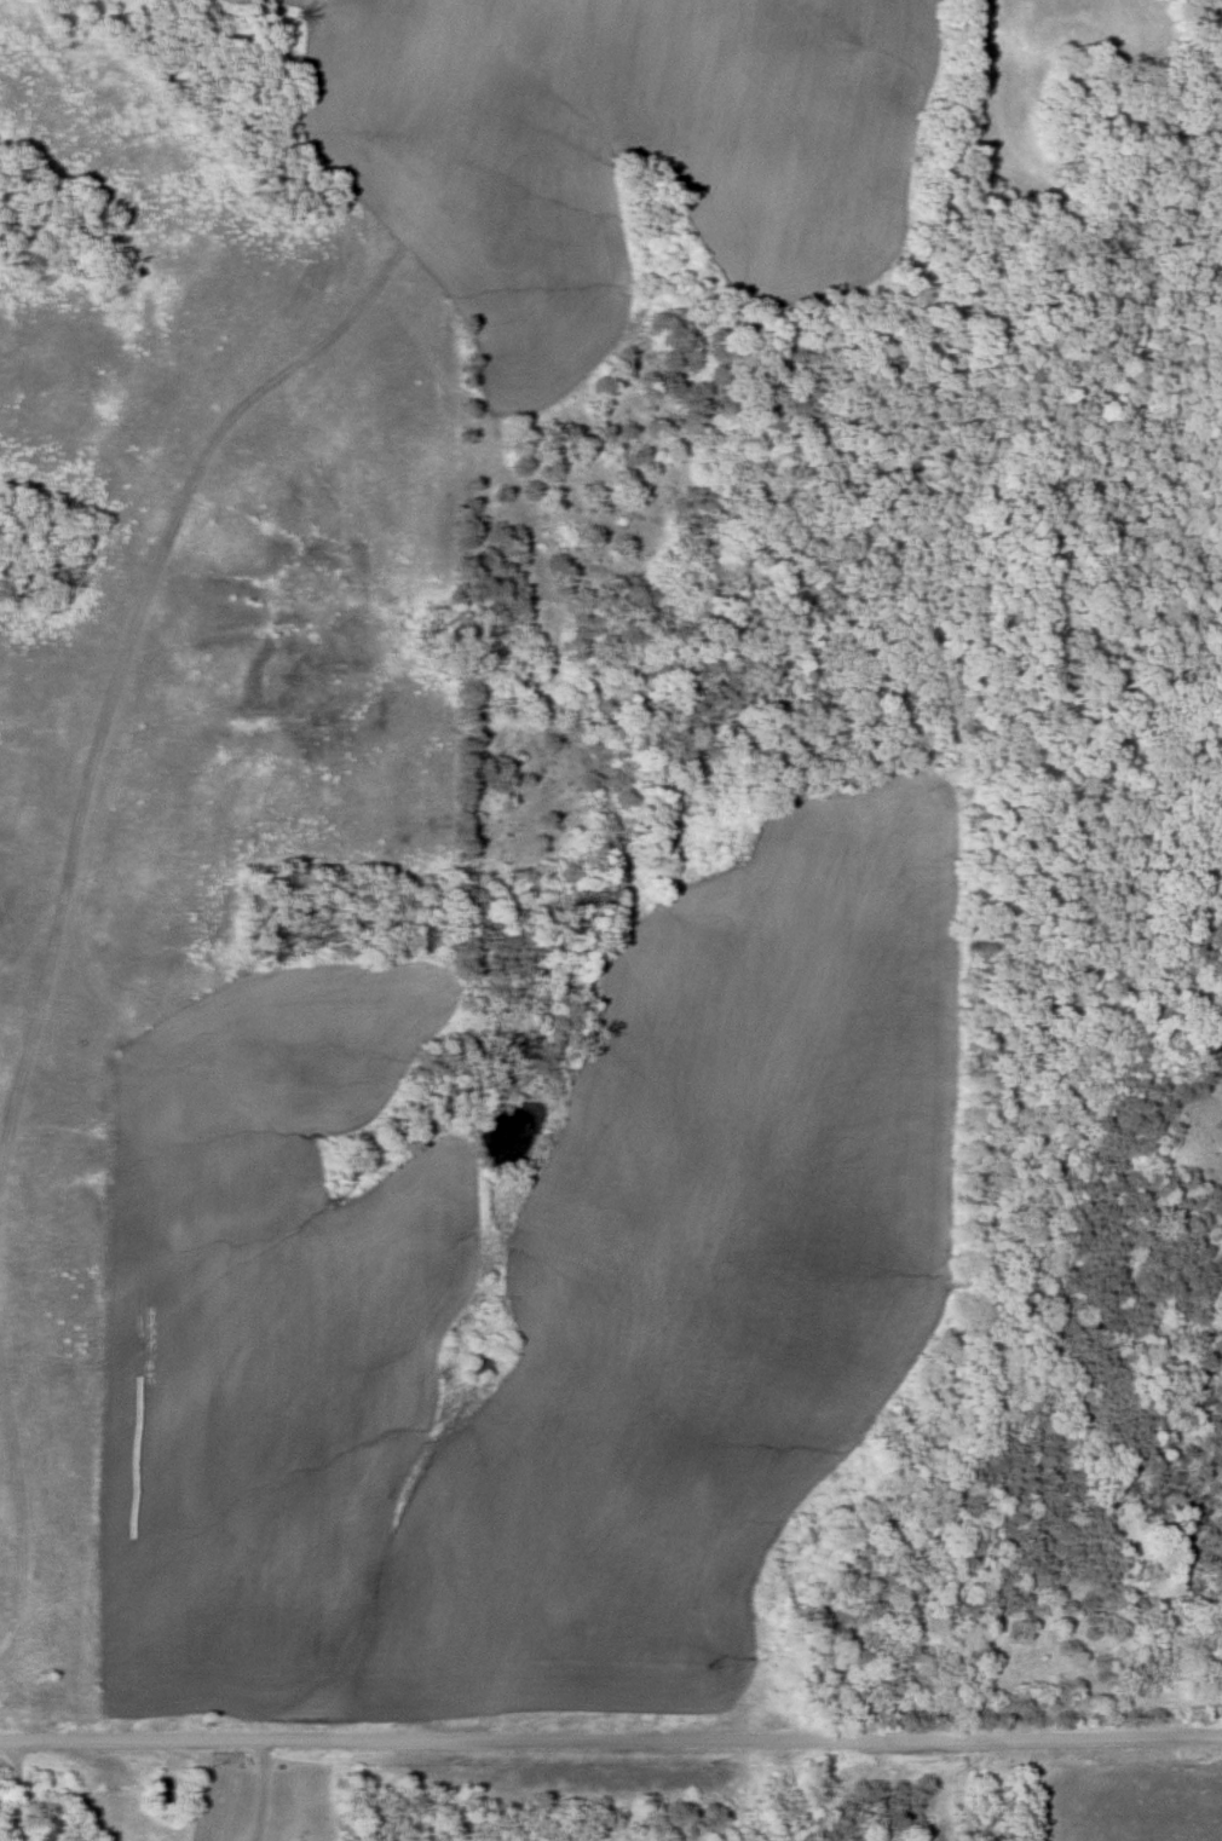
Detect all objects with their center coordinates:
road: (611, 1738)
road: (15, 1789)
road: (260, 1789)
building: (44, 1830)

